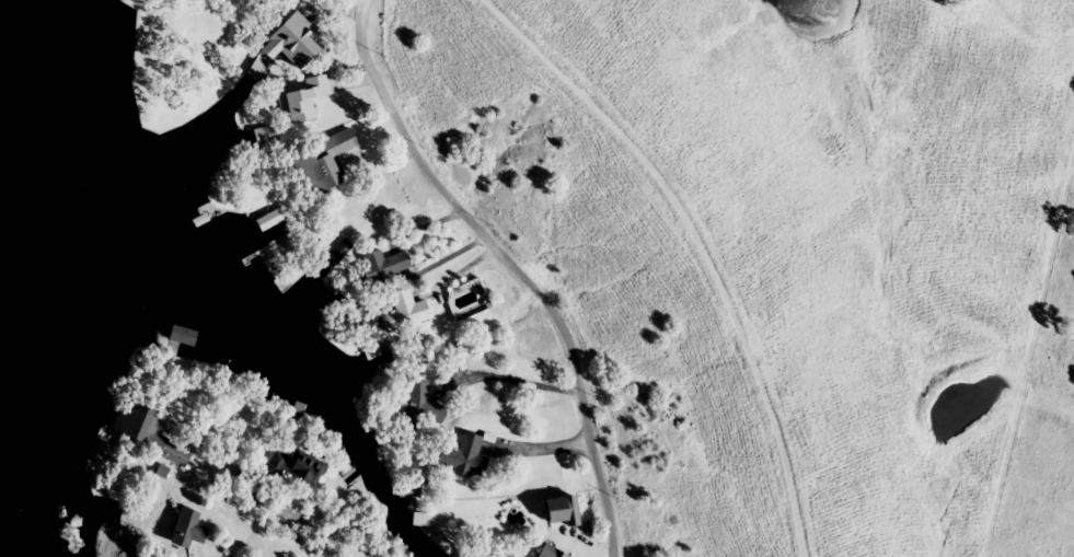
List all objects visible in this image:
building: (295, 44)
building: (304, 101)
building: (324, 164)
building: (197, 222)
building: (268, 224)
building: (385, 265)
road: (511, 265)
building: (405, 314)
building: (182, 343)
building: (424, 406)
building: (146, 433)
road: (541, 448)
building: (465, 457)
building: (297, 468)
road: (297, 519)
building: (420, 524)
building: (188, 530)
building: (553, 553)

